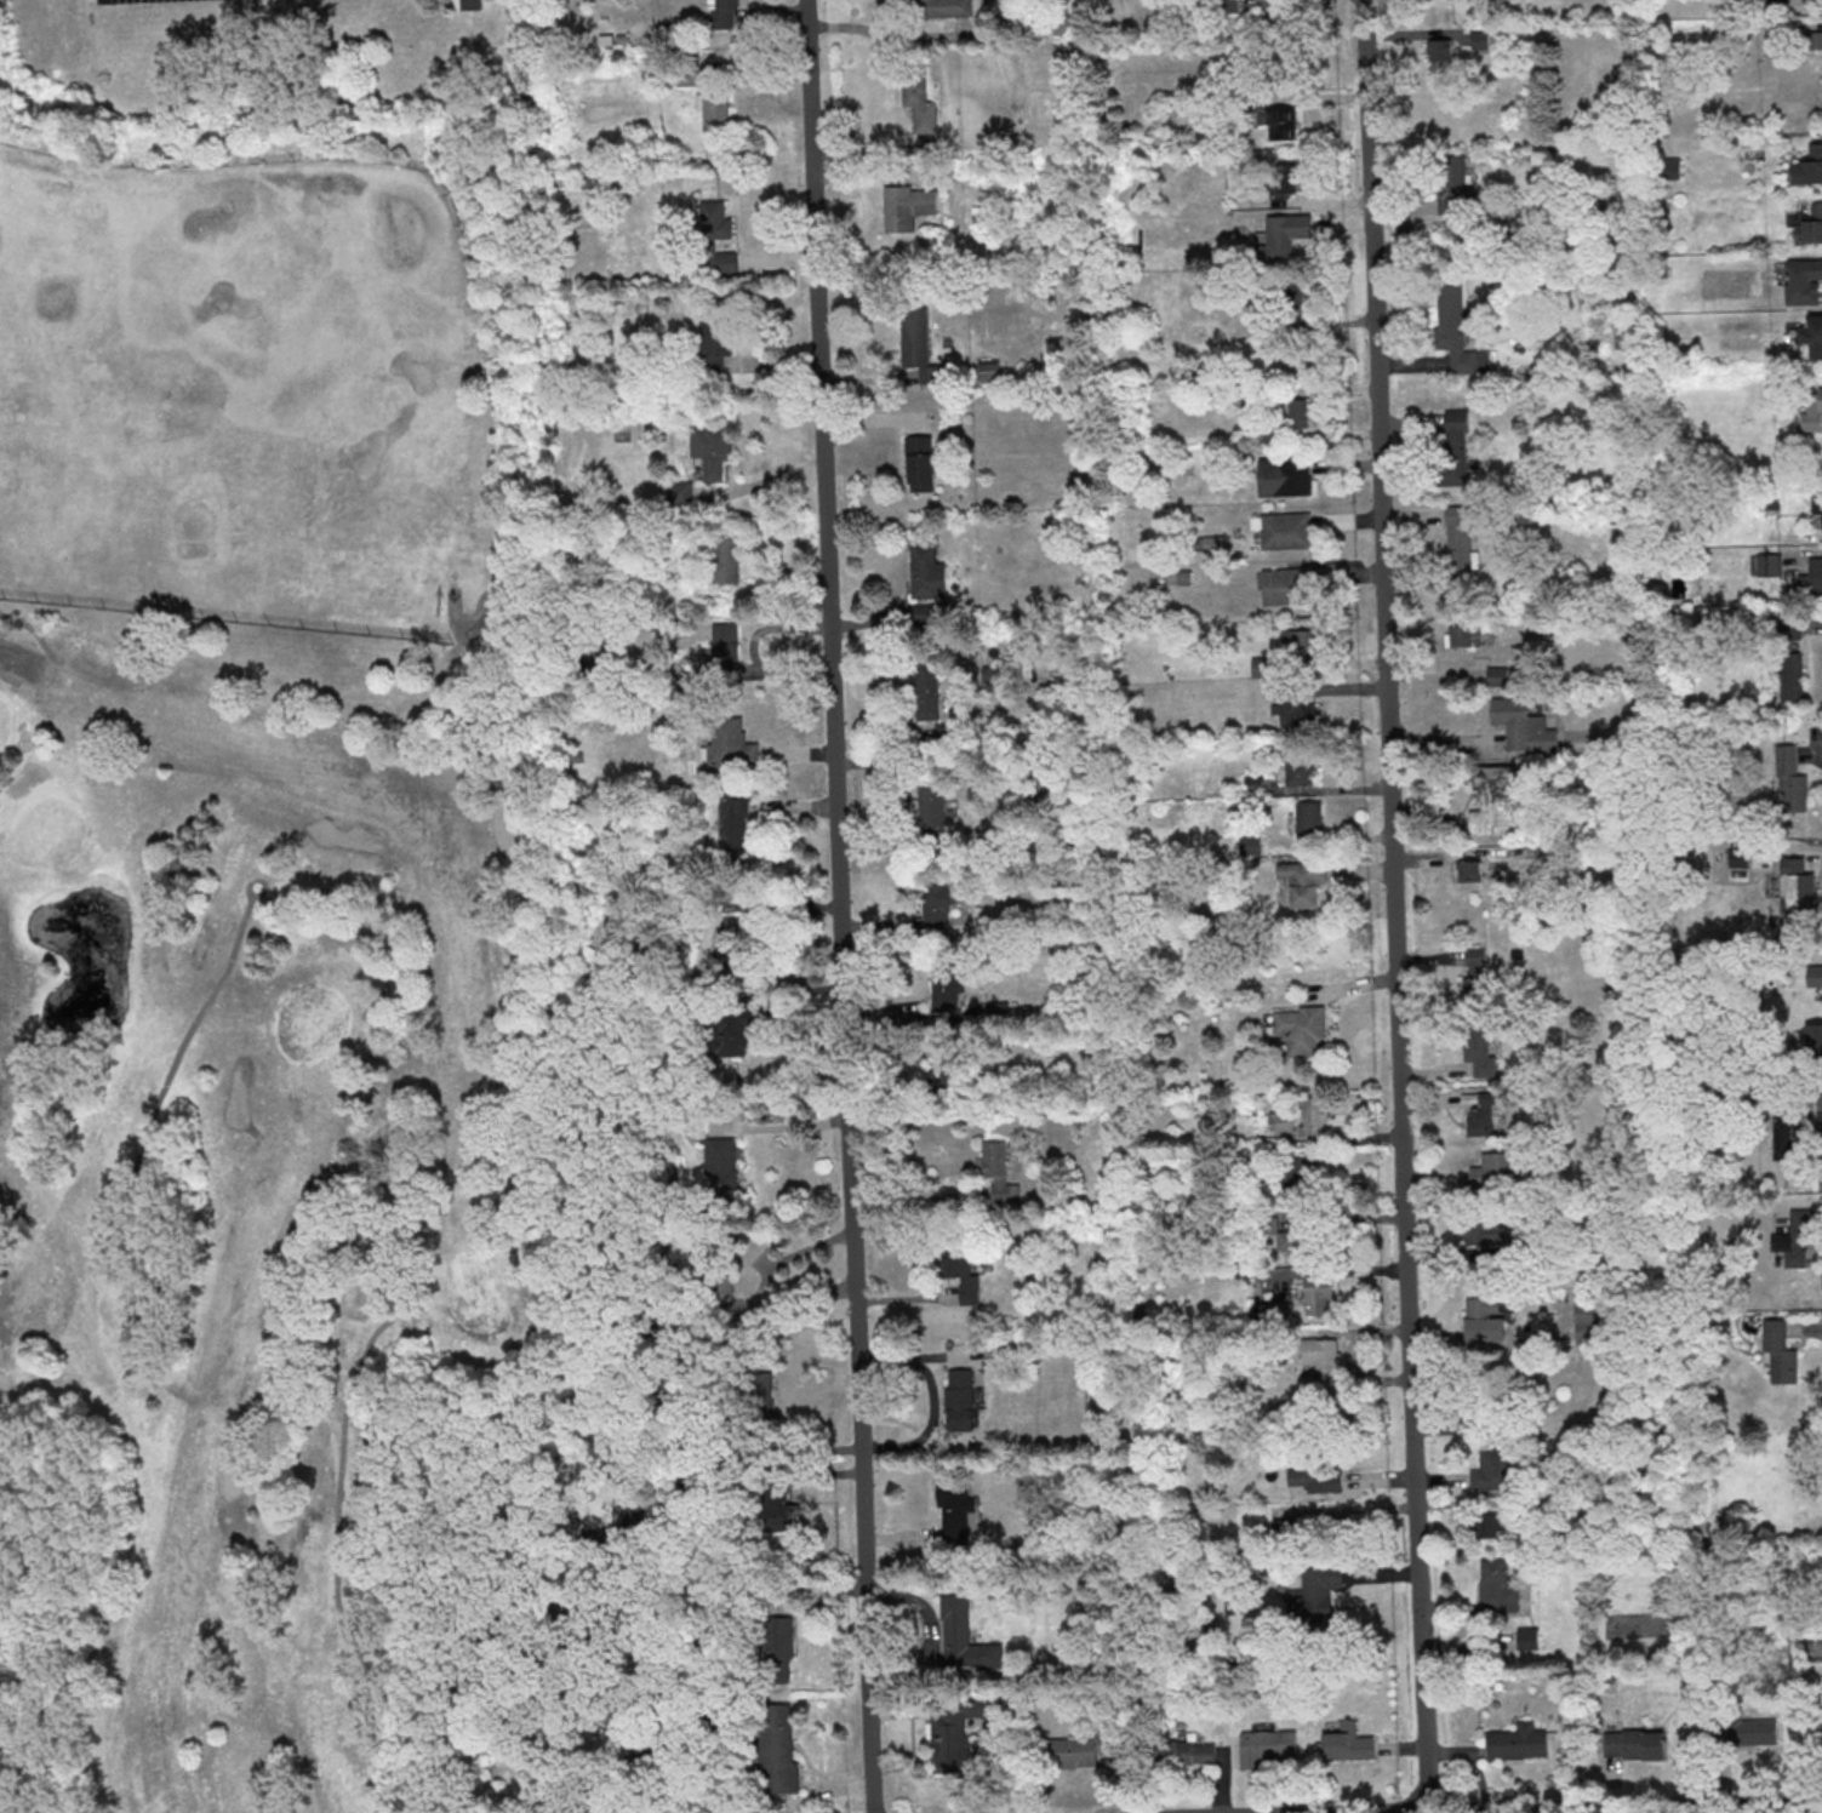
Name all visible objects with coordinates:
building: (1777, 0)
building: (726, 5)
building: (924, 12)
building: (1063, 24)
building: (1441, 48)
road: (764, 65)
building: (915, 101)
building: (714, 109)
building: (1279, 120)
park: (2, 122)
building: (1809, 166)
building: (1284, 177)
building: (1453, 185)
building: (898, 208)
building: (1810, 225)
building: (1284, 235)
building: (713, 240)
building: (1804, 280)
building: (1295, 298)
building: (1452, 327)
building: (1814, 334)
building: (914, 337)
building: (714, 341)
building: (989, 370)
park: (276, 372)
building: (1300, 412)
building: (1812, 412)
building: (1452, 450)
building: (716, 454)
building: (919, 464)
building: (1283, 475)
building: (680, 491)
building: (1817, 508)
building: (1283, 528)
building: (1460, 541)
building: (724, 560)
building: (1766, 564)
building: (923, 571)
building: (1181, 577)
building: (1812, 578)
building: (1283, 584)
road: (32, 630)
building: (1464, 635)
building: (1301, 640)
building: (725, 653)
building: (1790, 660)
building: (1258, 667)
building: (1501, 675)
road: (10, 679)
building: (923, 687)
building: (1302, 713)
building: (1523, 725)
building: (729, 740)
road: (1485, 756)
building: (1301, 768)
building: (1790, 780)
building: (1255, 783)
building: (1496, 801)
building: (930, 812)
building: (1309, 816)
building: (731, 820)
building: (1469, 869)
building: (1304, 880)
building: (1798, 885)
building: (933, 900)
road: (1397, 904)
road: (841, 905)
building: (733, 946)
road: (1811, 961)
building: (1477, 972)
building: (1815, 974)
building: (939, 980)
building: (730, 1026)
building: (1303, 1028)
building: (1815, 1037)
building: (1480, 1051)
building: (950, 1062)
road: (173, 1063)
building: (1483, 1115)
building: (1315, 1116)
building: (1790, 1136)
building: (1302, 1168)
building: (719, 1169)
building: (1492, 1169)
building: (998, 1174)
park: (259, 1183)
building: (1489, 1230)
building: (1276, 1235)
building: (1797, 1235)
building: (958, 1269)
building: (716, 1275)
building: (1321, 1294)
building: (1485, 1317)
building: (1593, 1322)
building: (1781, 1351)
building: (1323, 1354)
building: (756, 1397)
building: (956, 1399)
building: (1493, 1469)
building: (1316, 1476)
building: (777, 1505)
building: (956, 1510)
building: (640, 1511)
road: (335, 1523)
building: (1491, 1525)
road: (733, 1586)
building: (1497, 1586)
building: (1318, 1594)
building: (1530, 1636)
building: (961, 1641)
building: (773, 1642)
building: (950, 1731)
building: (1754, 1731)
building: (1348, 1741)
building: (1518, 1741)
building: (1635, 1743)
building: (1268, 1745)
building: (1073, 1751)
building: (1188, 1751)
building: (655, 1760)
building: (775, 1762)
road: (1594, 1806)

